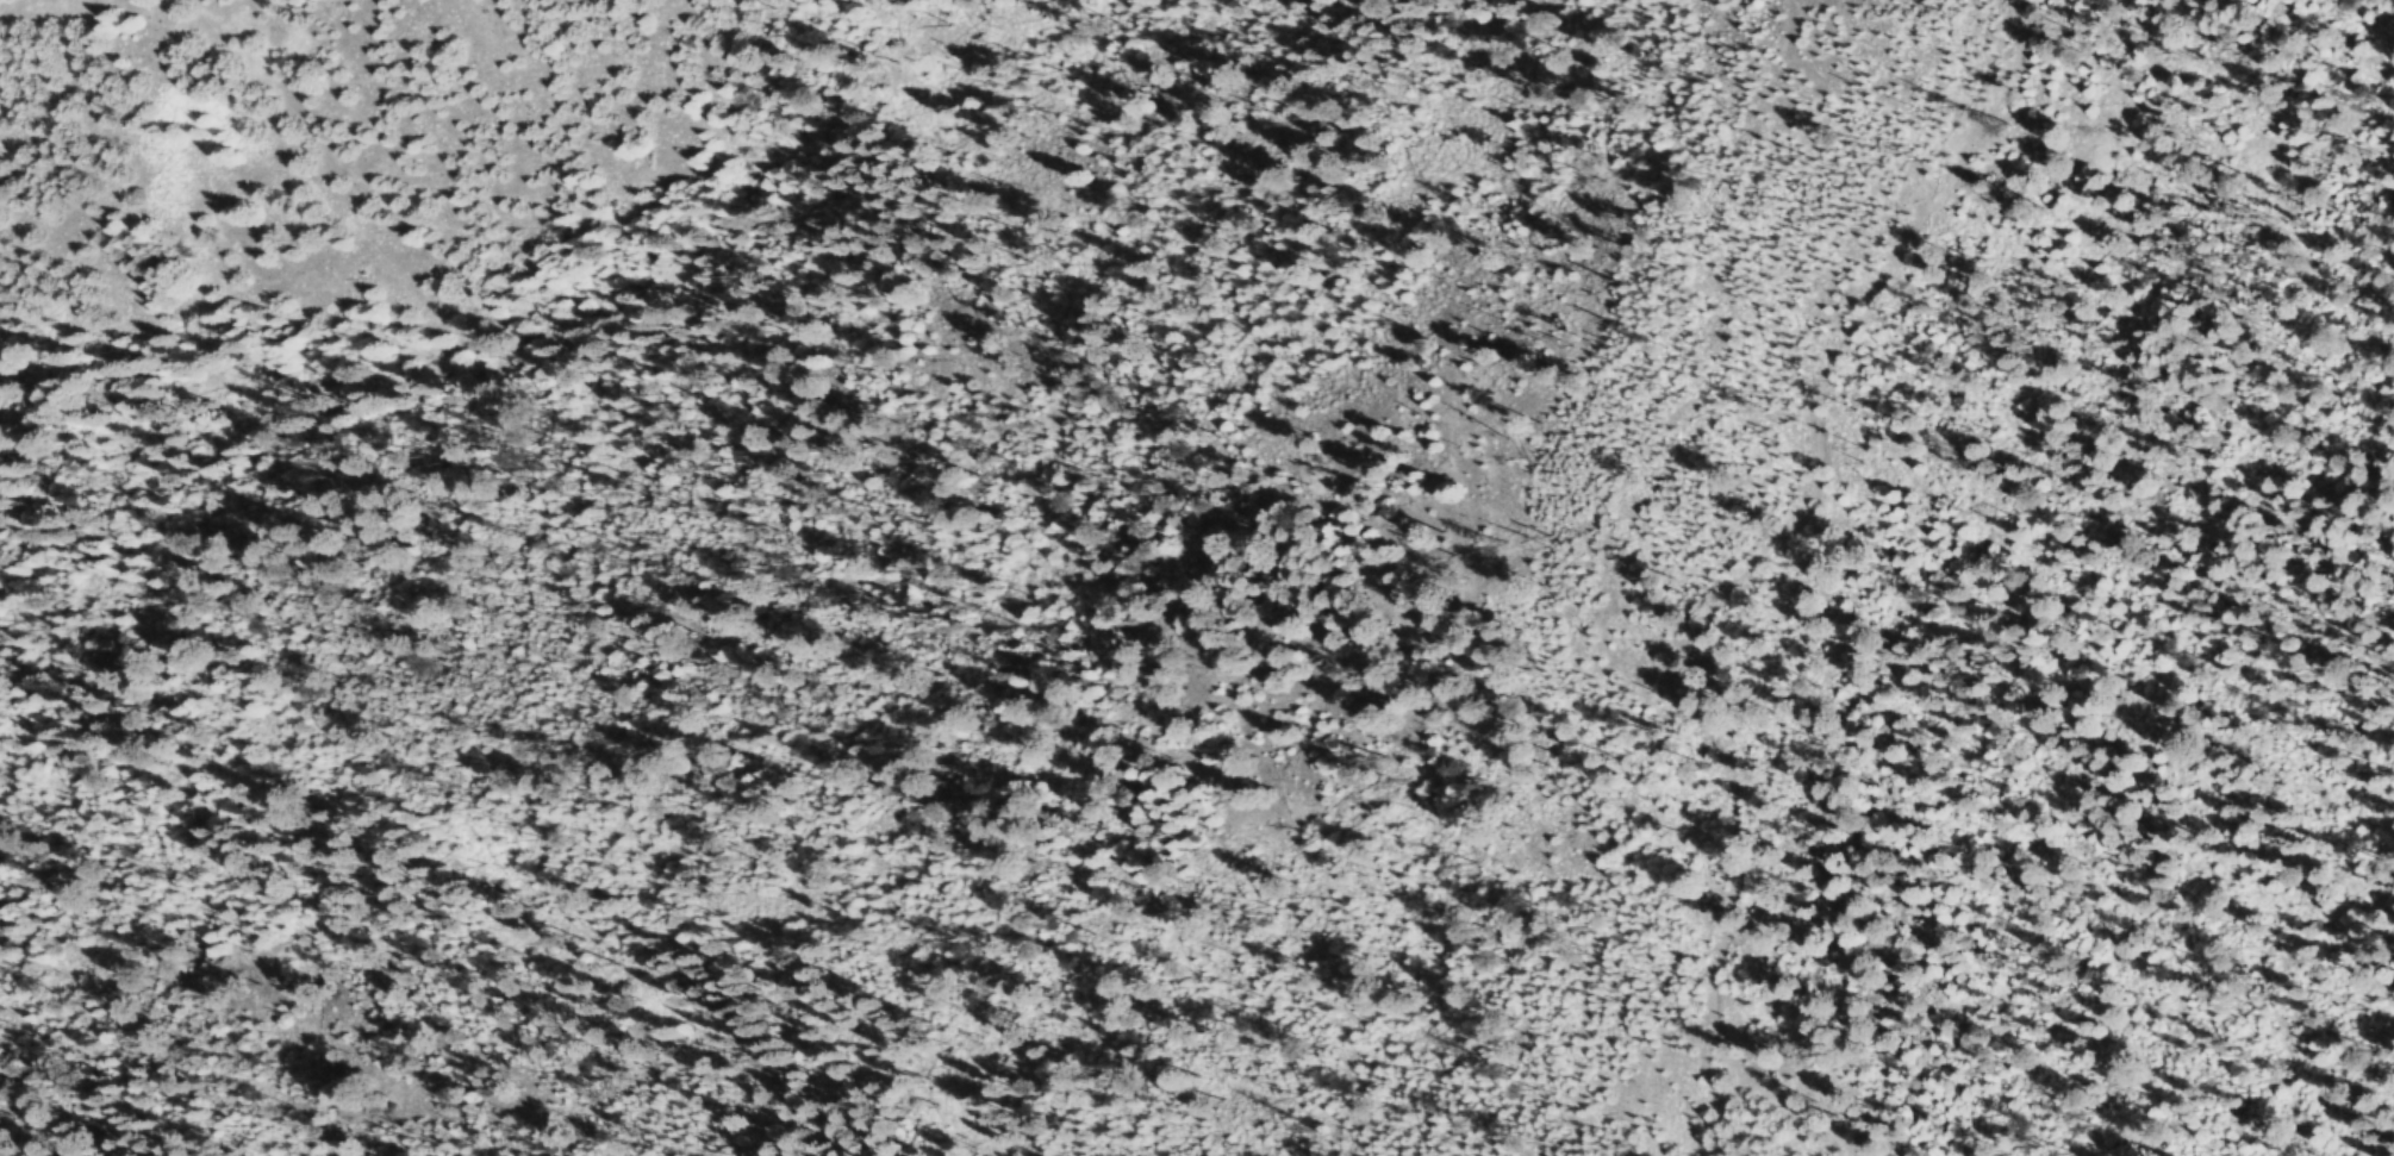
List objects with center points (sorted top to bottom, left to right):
road: (186, 1)
road: (1715, 575)

